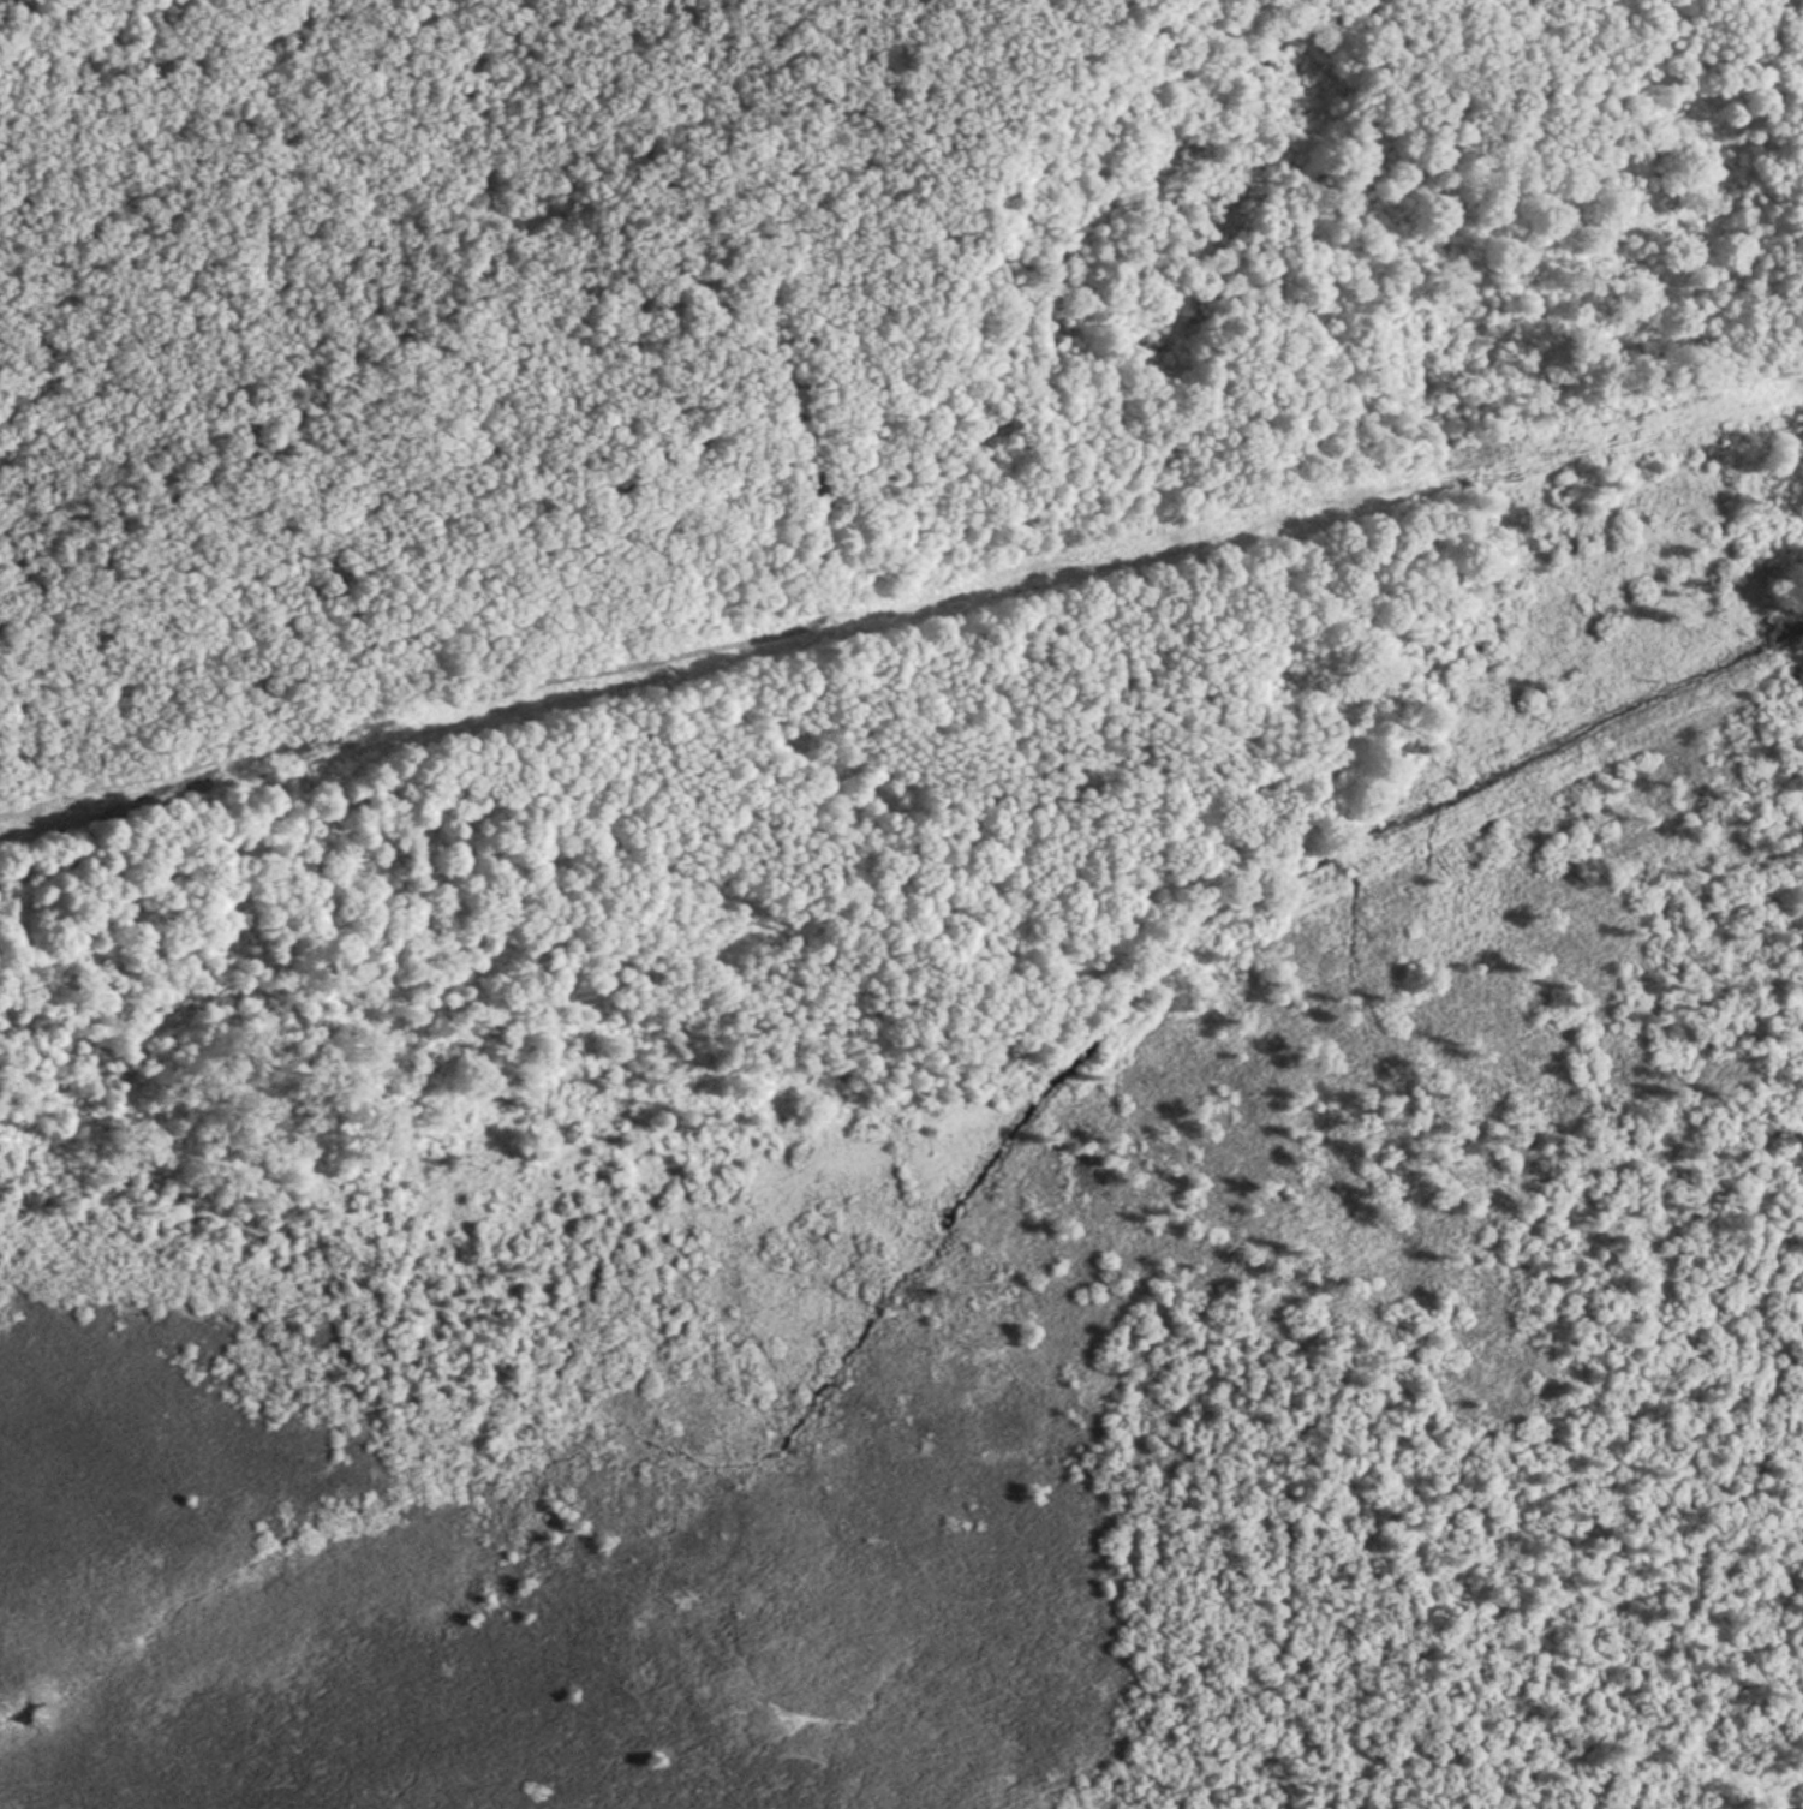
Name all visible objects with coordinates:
road: (29, 37)

